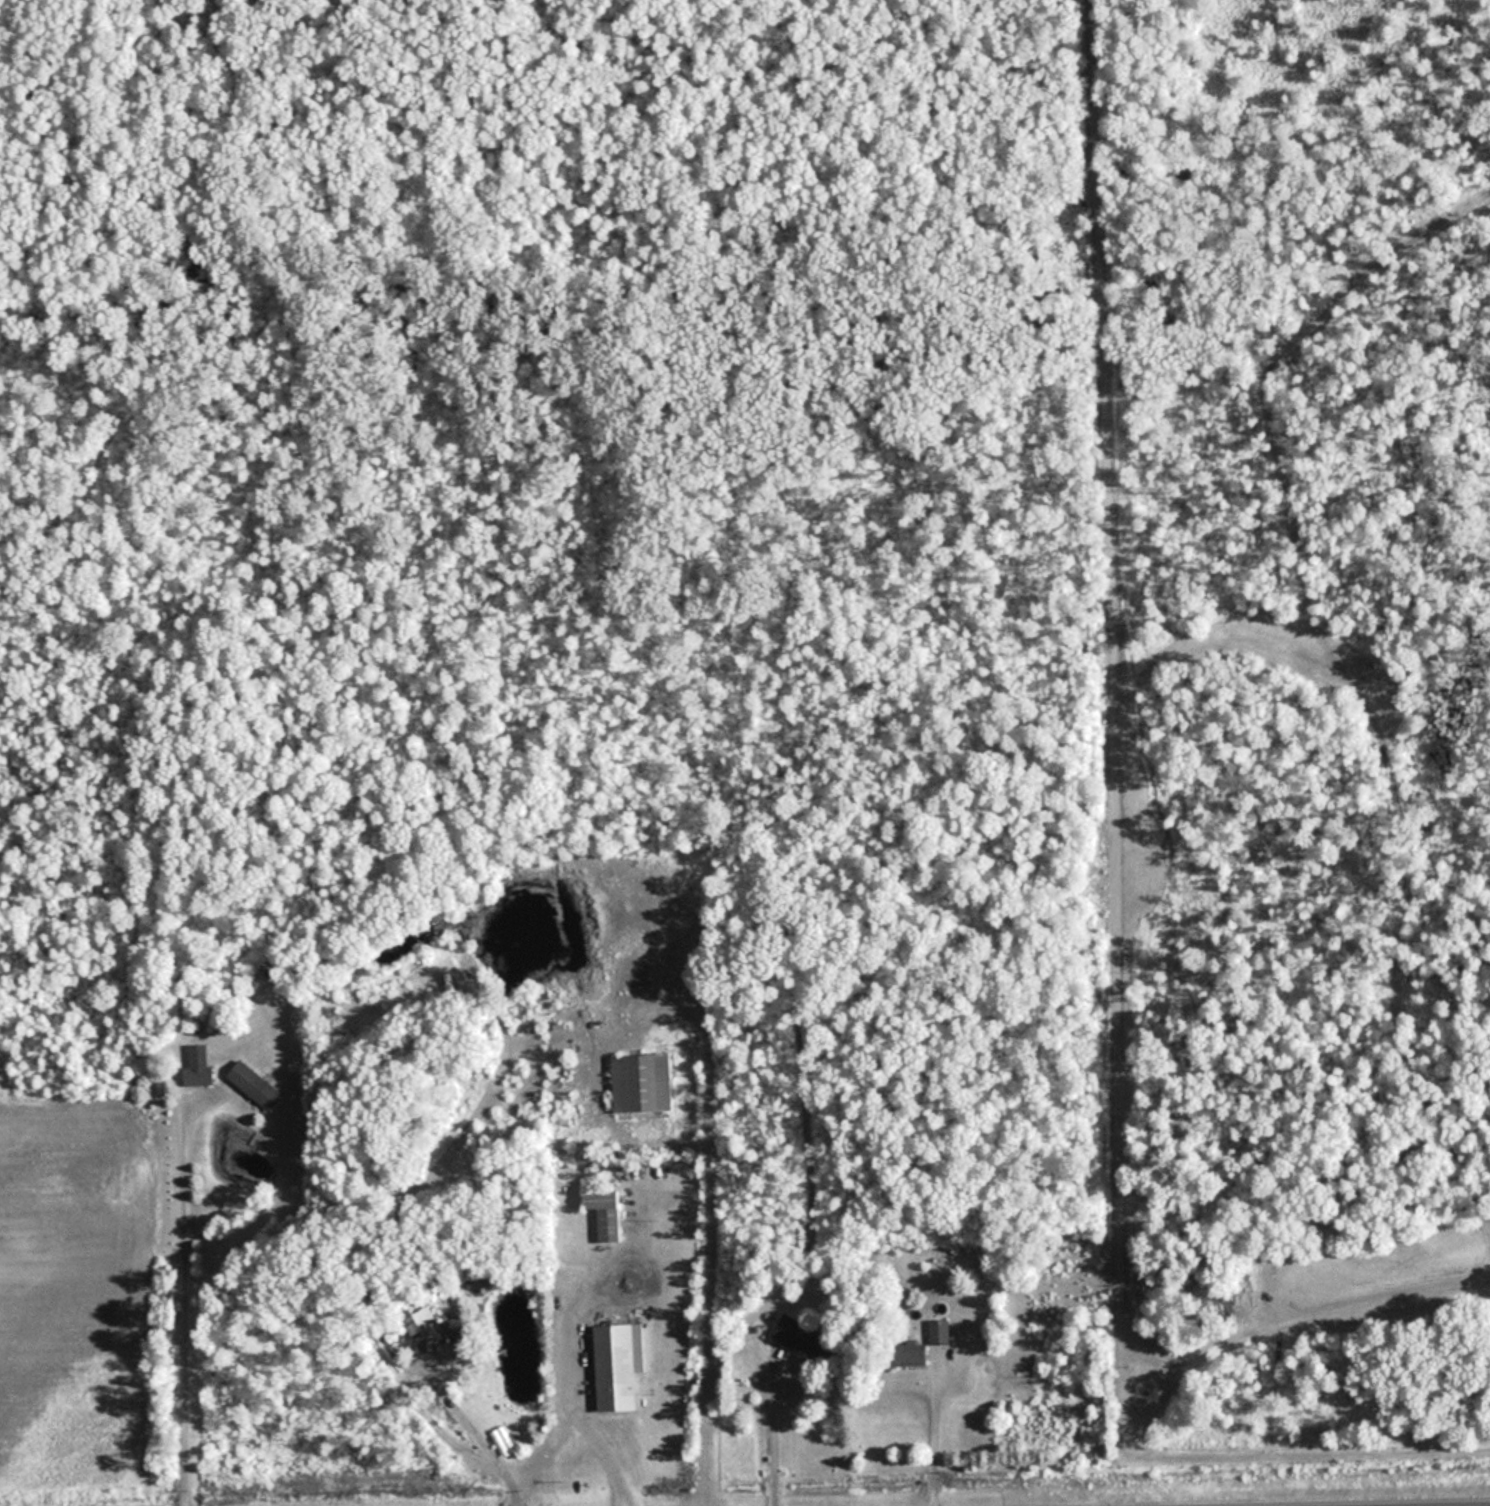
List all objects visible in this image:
park: (545, 297)
building: (198, 1067)
building: (642, 1082)
building: (255, 1085)
building: (605, 1213)
road: (642, 1265)
road: (178, 1296)
building: (413, 1326)
building: (940, 1332)
building: (795, 1333)
building: (459, 1347)
building: (916, 1354)
building: (619, 1365)
road: (569, 1407)
road: (927, 1432)
road: (470, 1433)
road: (767, 1435)

